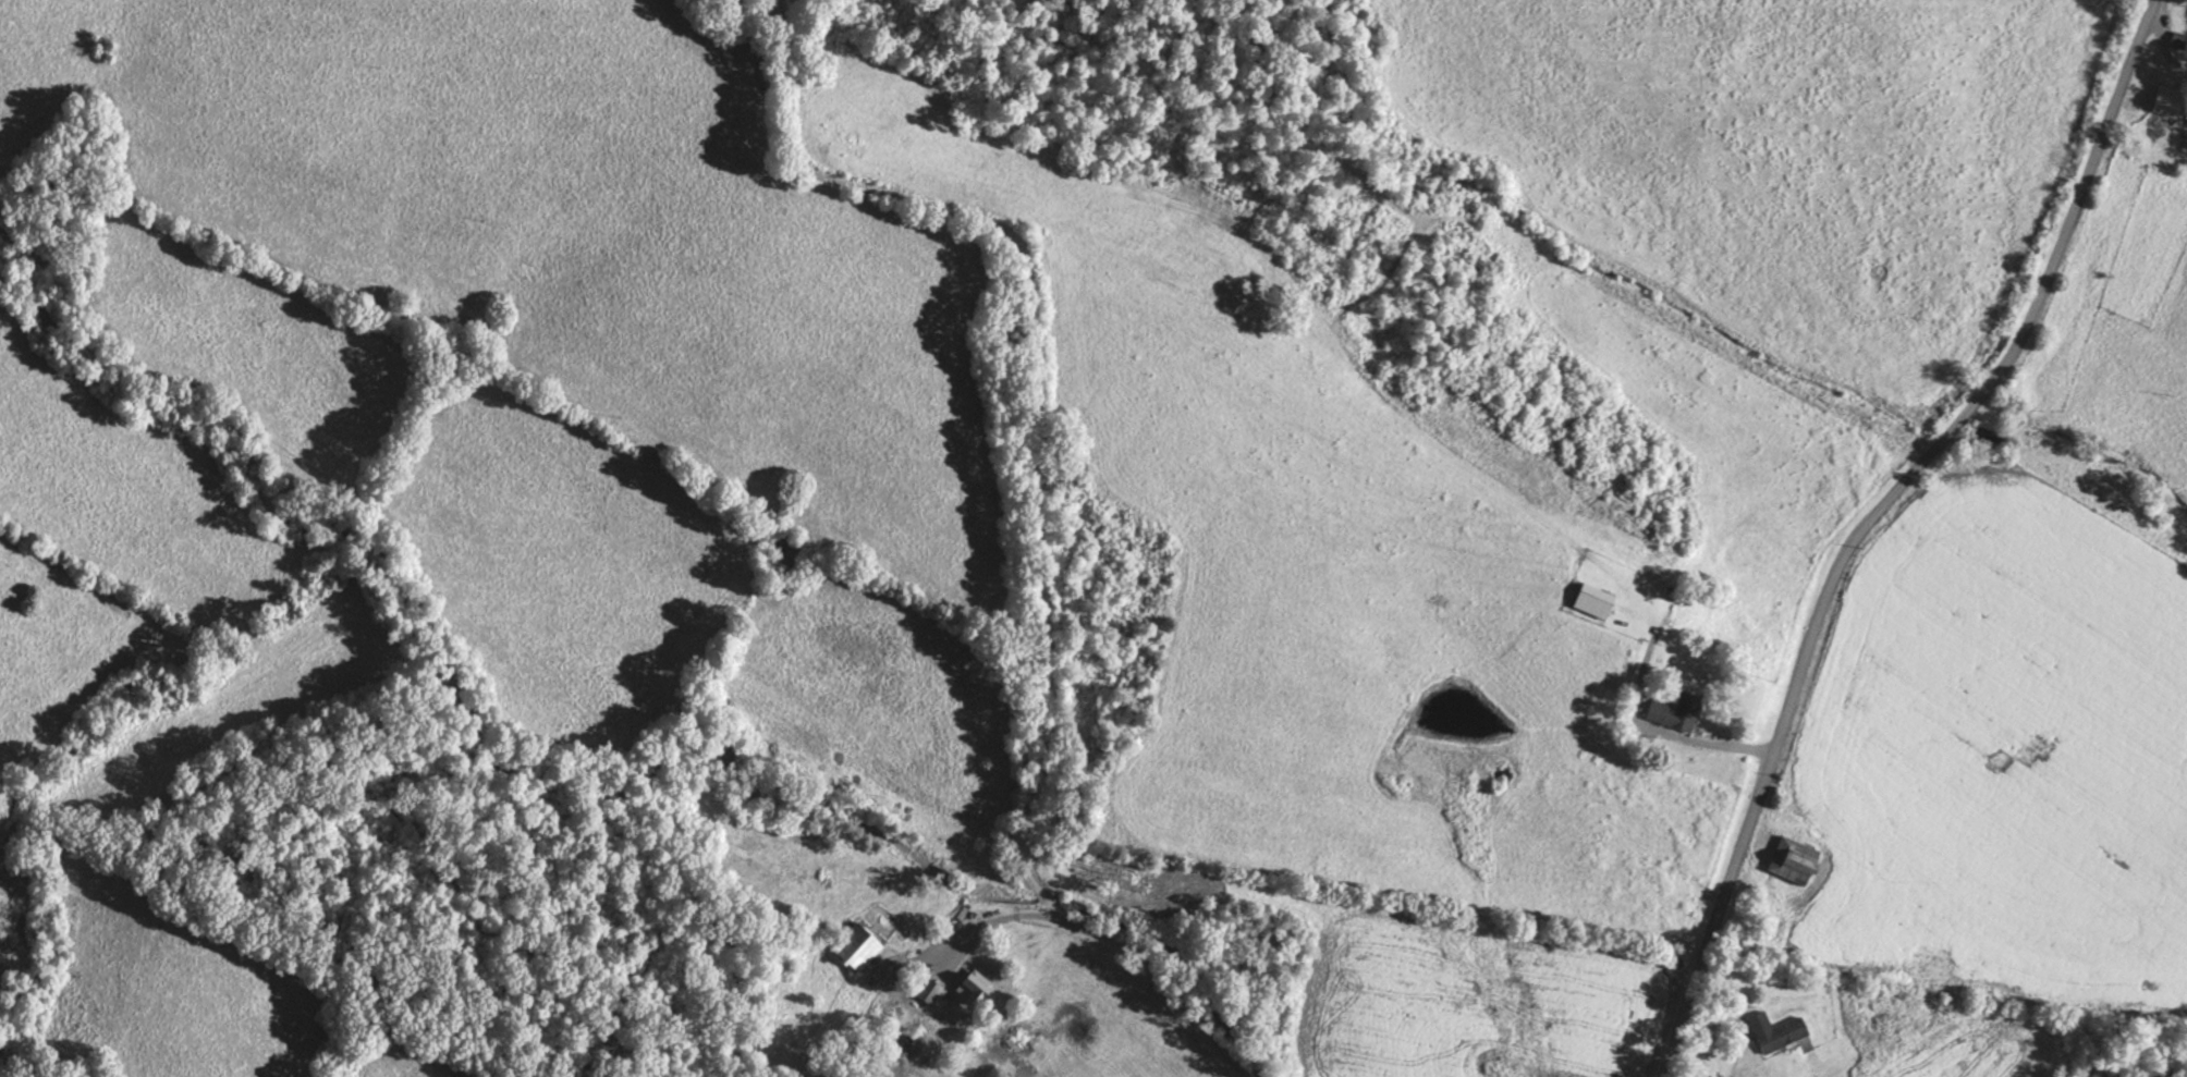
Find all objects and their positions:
road: (1940, 24)
road: (1957, 49)
building: (2163, 100)
road: (1013, 413)
road: (1895, 531)
building: (1598, 602)
building: (1677, 712)
building: (1787, 860)
building: (859, 945)
building: (975, 989)
building: (929, 991)
building: (1772, 1030)

